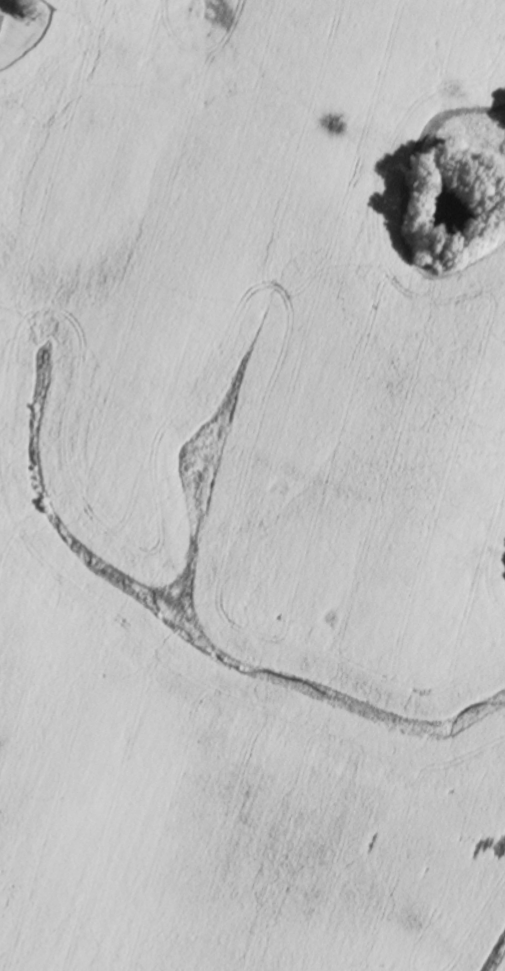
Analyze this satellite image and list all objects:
building: (1, 25)

